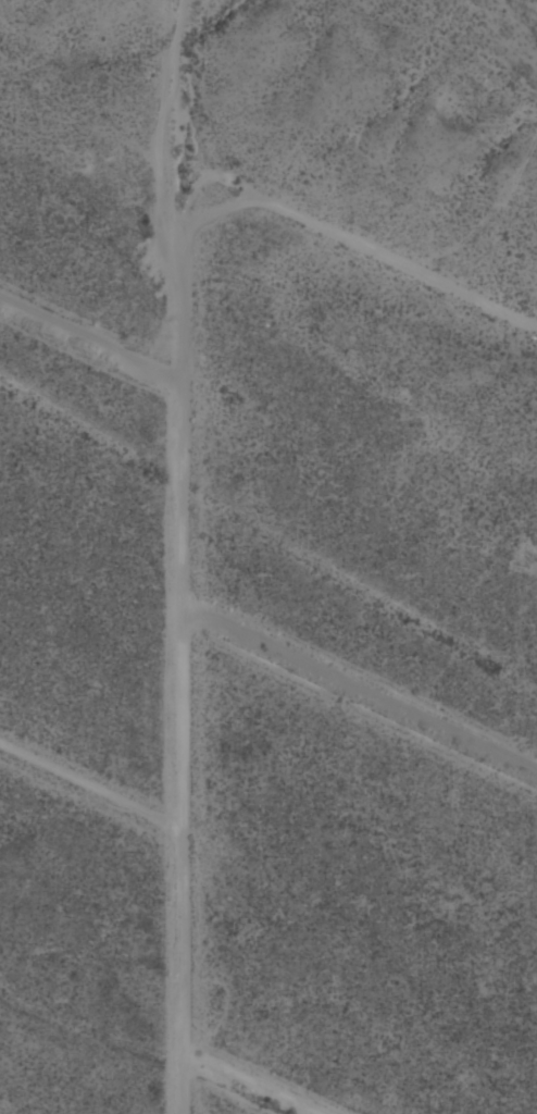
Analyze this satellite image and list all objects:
road: (290, 212)
road: (91, 338)
road: (358, 695)
road: (183, 747)
road: (92, 780)
road: (255, 1084)

